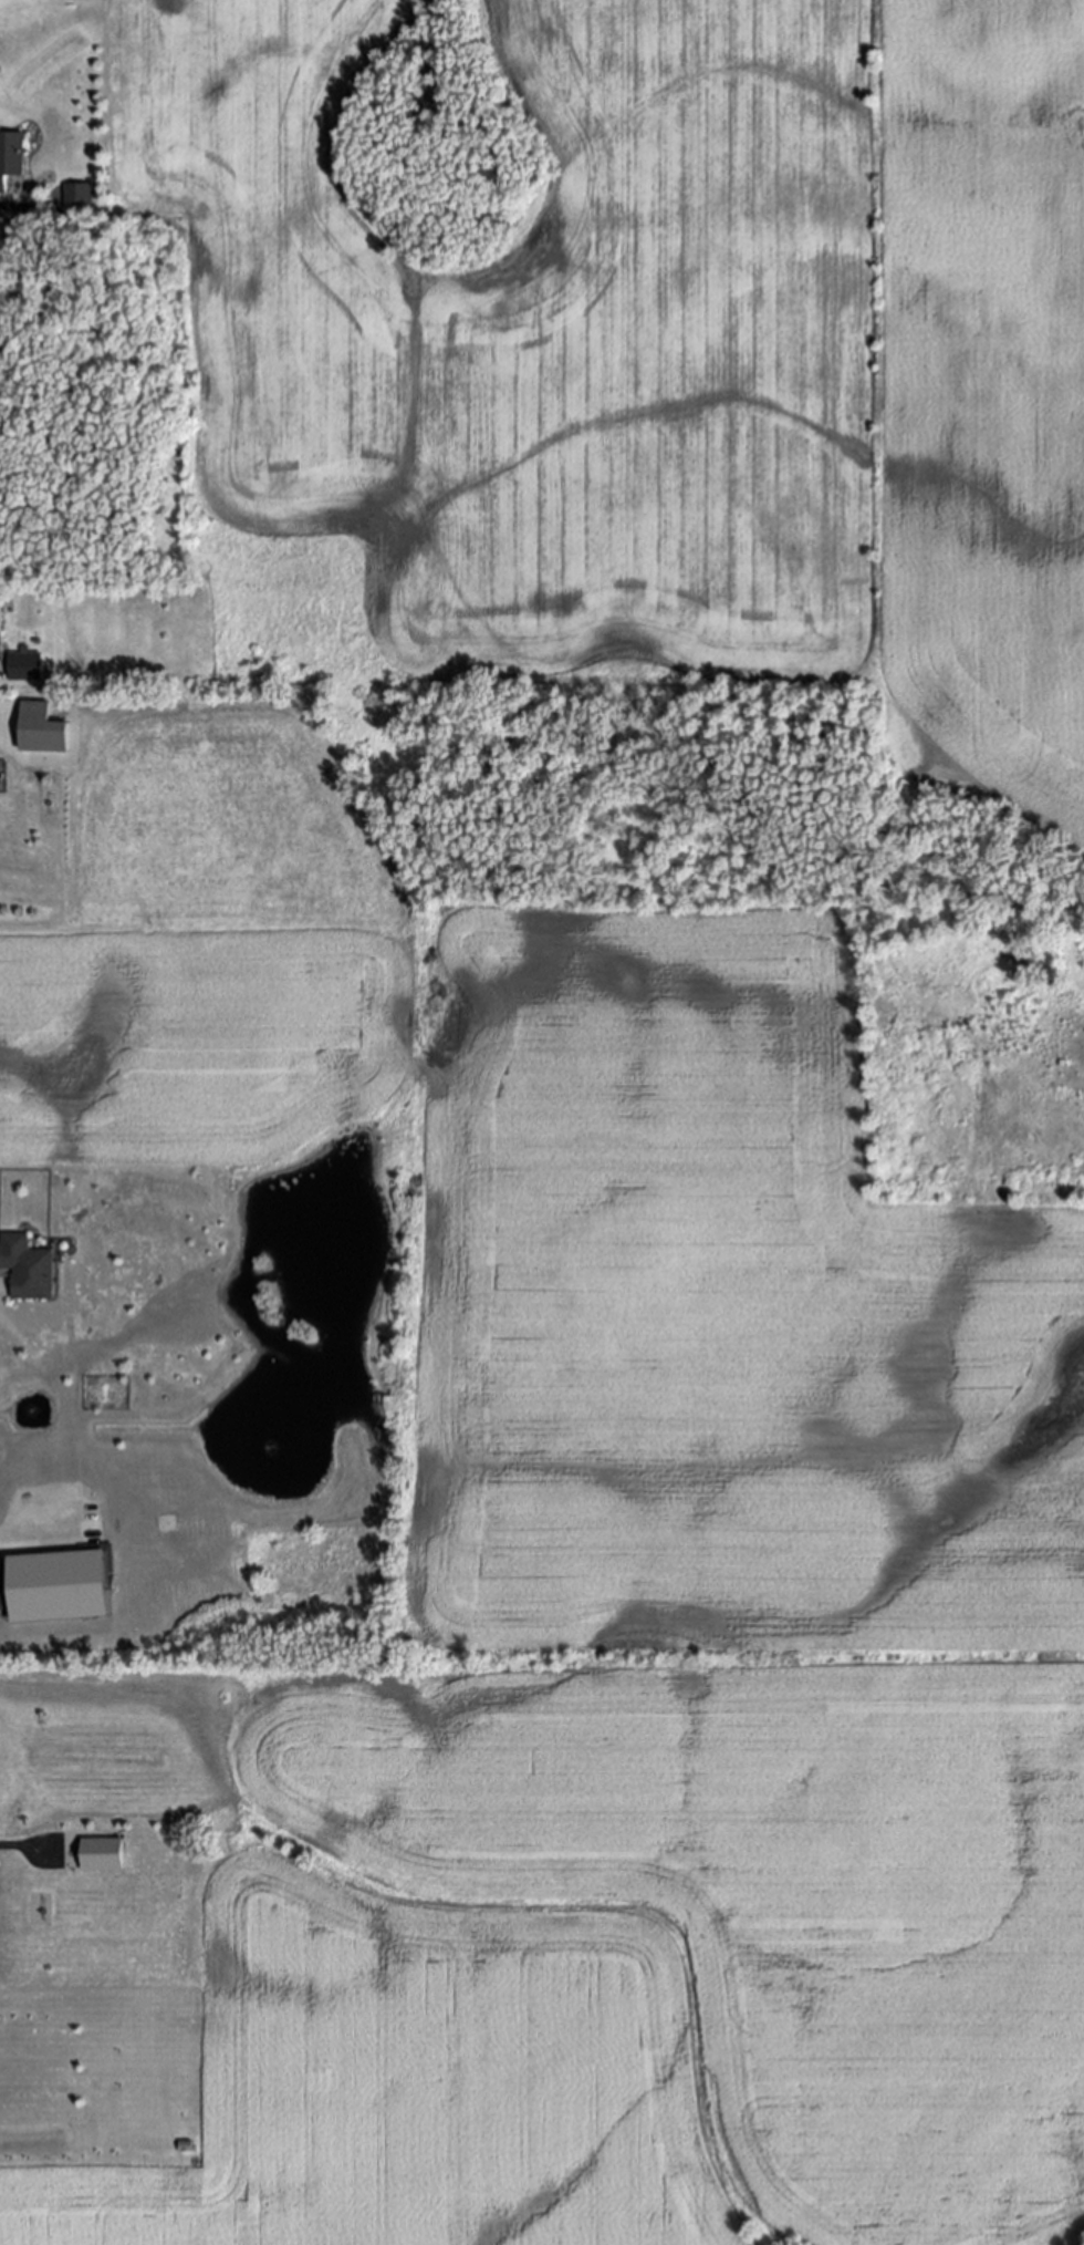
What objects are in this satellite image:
building: (10, 157)
building: (79, 197)
crop: (669, 350)
building: (21, 662)
building: (34, 714)
crop: (207, 943)
building: (25, 1269)
road: (34, 1533)
building: (56, 1589)
crop: (675, 1669)
building: (104, 1854)

